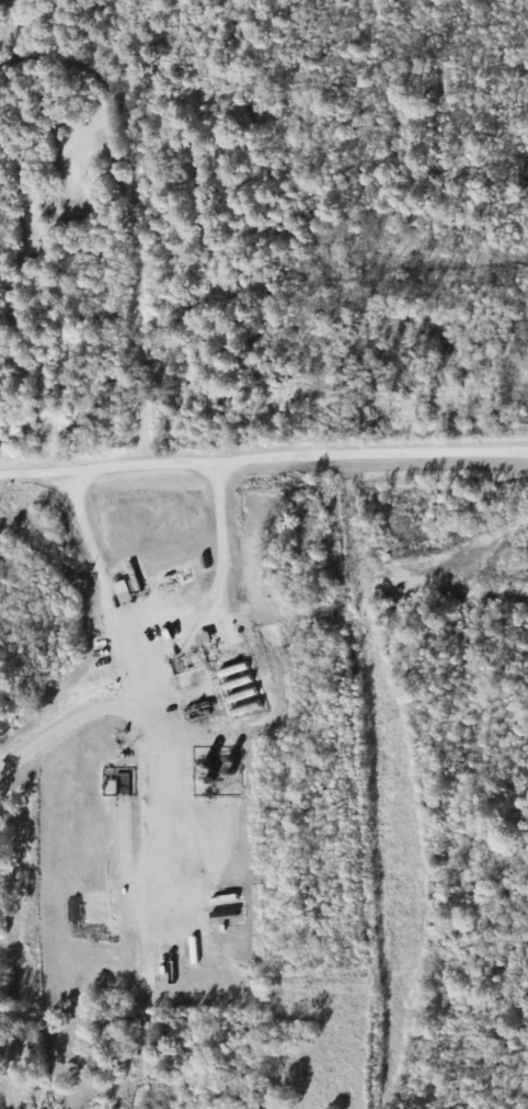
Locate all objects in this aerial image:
road: (110, 234)
road: (264, 339)
road: (264, 464)
road: (103, 579)
building: (125, 590)
road: (167, 655)

